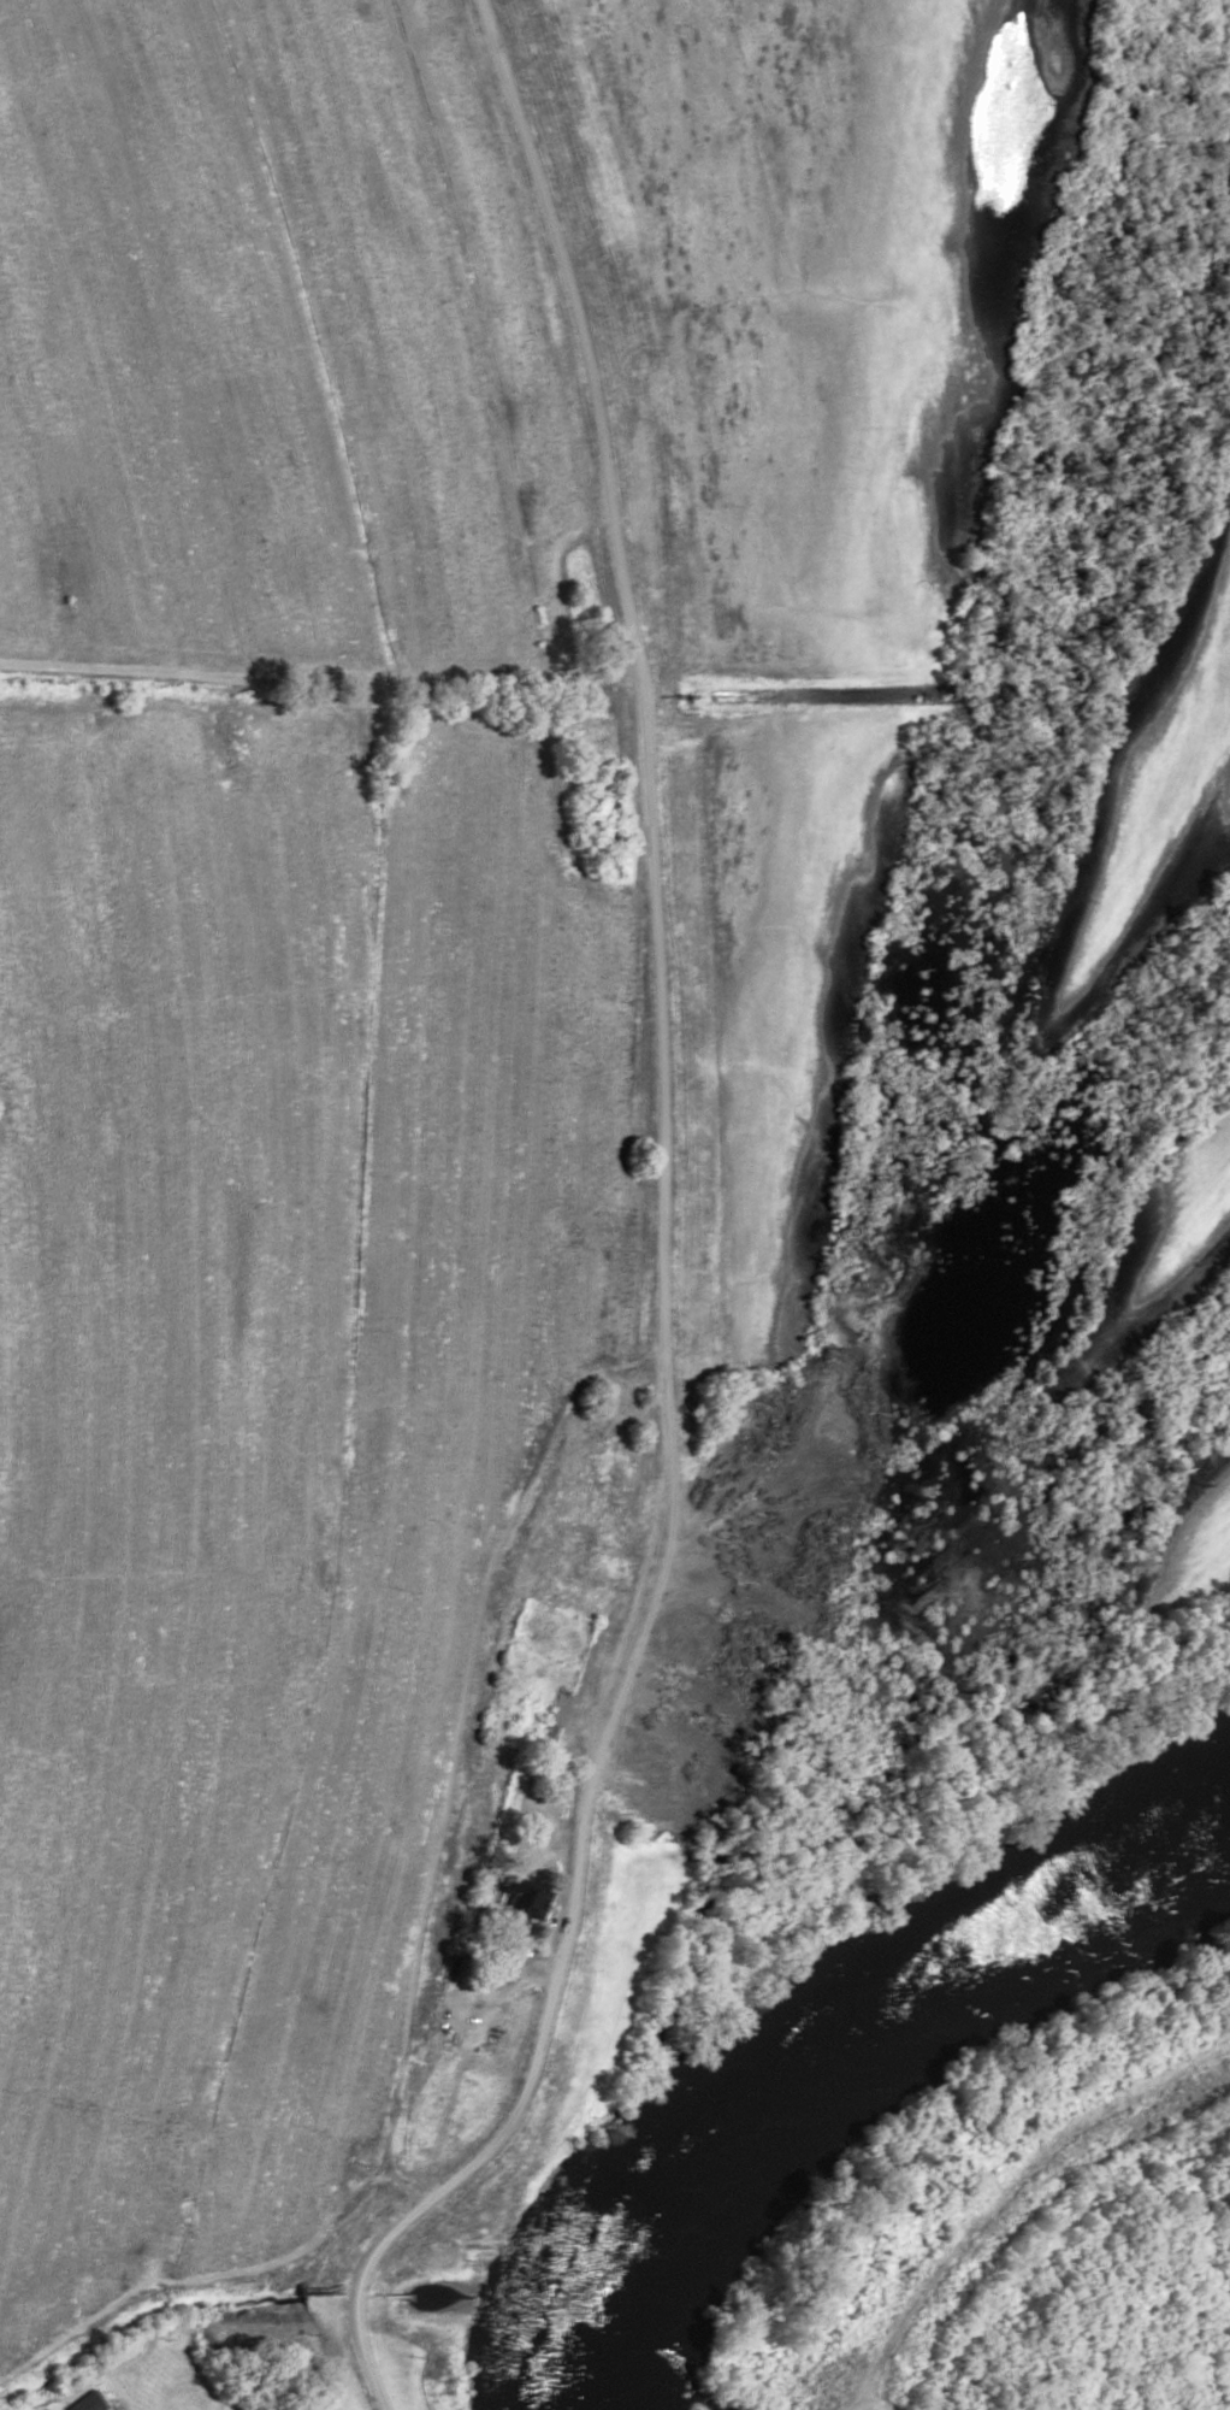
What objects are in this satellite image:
crop: (826, 291)
crop: (277, 344)
road: (311, 674)
crop: (1152, 802)
crop: (788, 973)
road: (655, 1236)
crop: (1177, 1237)
crop: (266, 1430)
crop: (1183, 1550)
building: (551, 1708)
road: (454, 1756)
building: (516, 1902)
river: (823, 2009)
road: (201, 2279)
building: (83, 2403)
road: (859, 2408)

